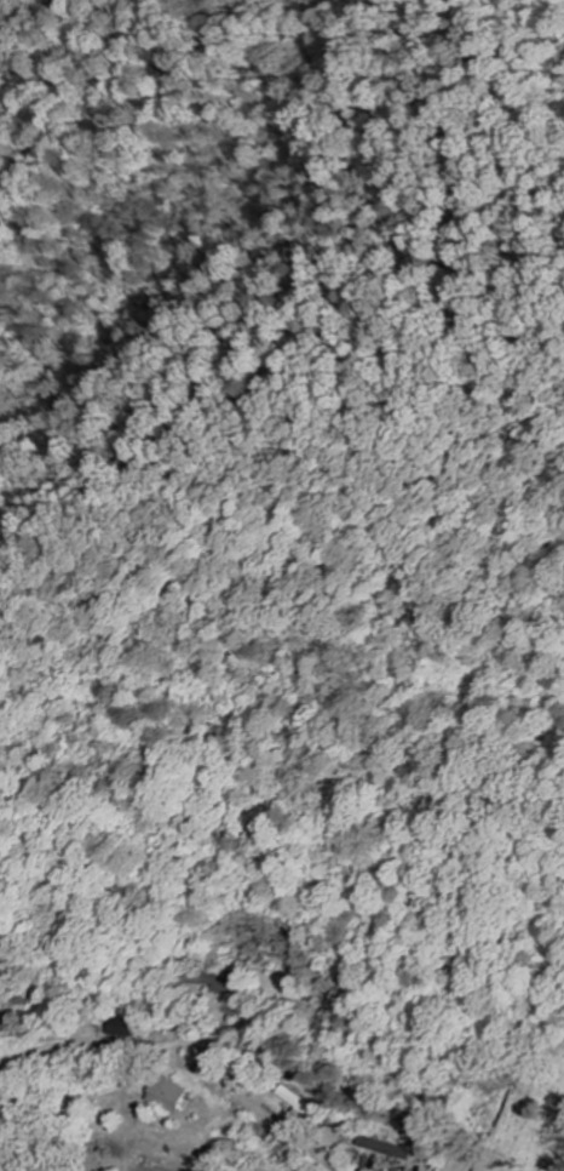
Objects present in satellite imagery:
building: (218, 981)
building: (121, 1027)
road: (183, 1062)
building: (167, 1095)
park: (530, 1113)
road: (457, 1167)

